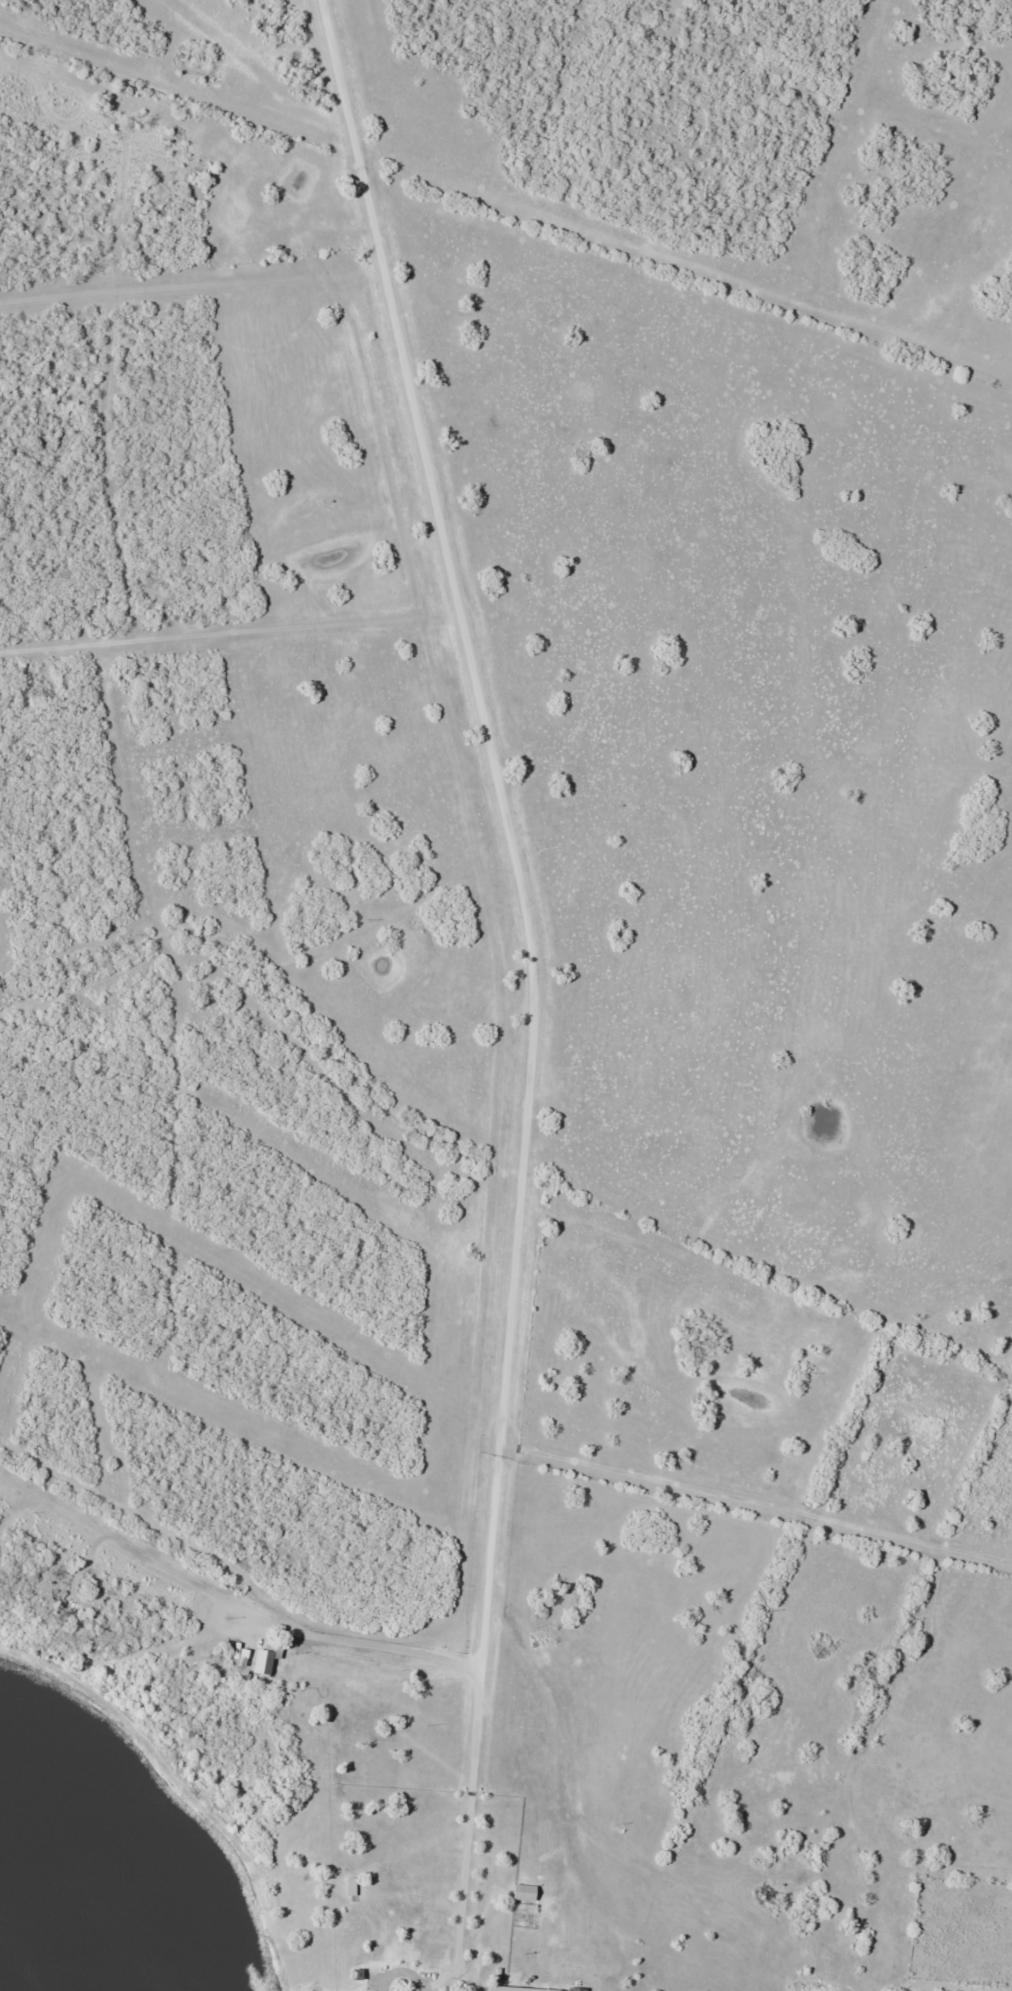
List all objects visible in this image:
road: (549, 985)
building: (269, 1659)
building: (526, 1893)
building: (382, 1910)
building: (431, 1955)
building: (395, 1979)
building: (644, 1985)
building: (577, 1989)

